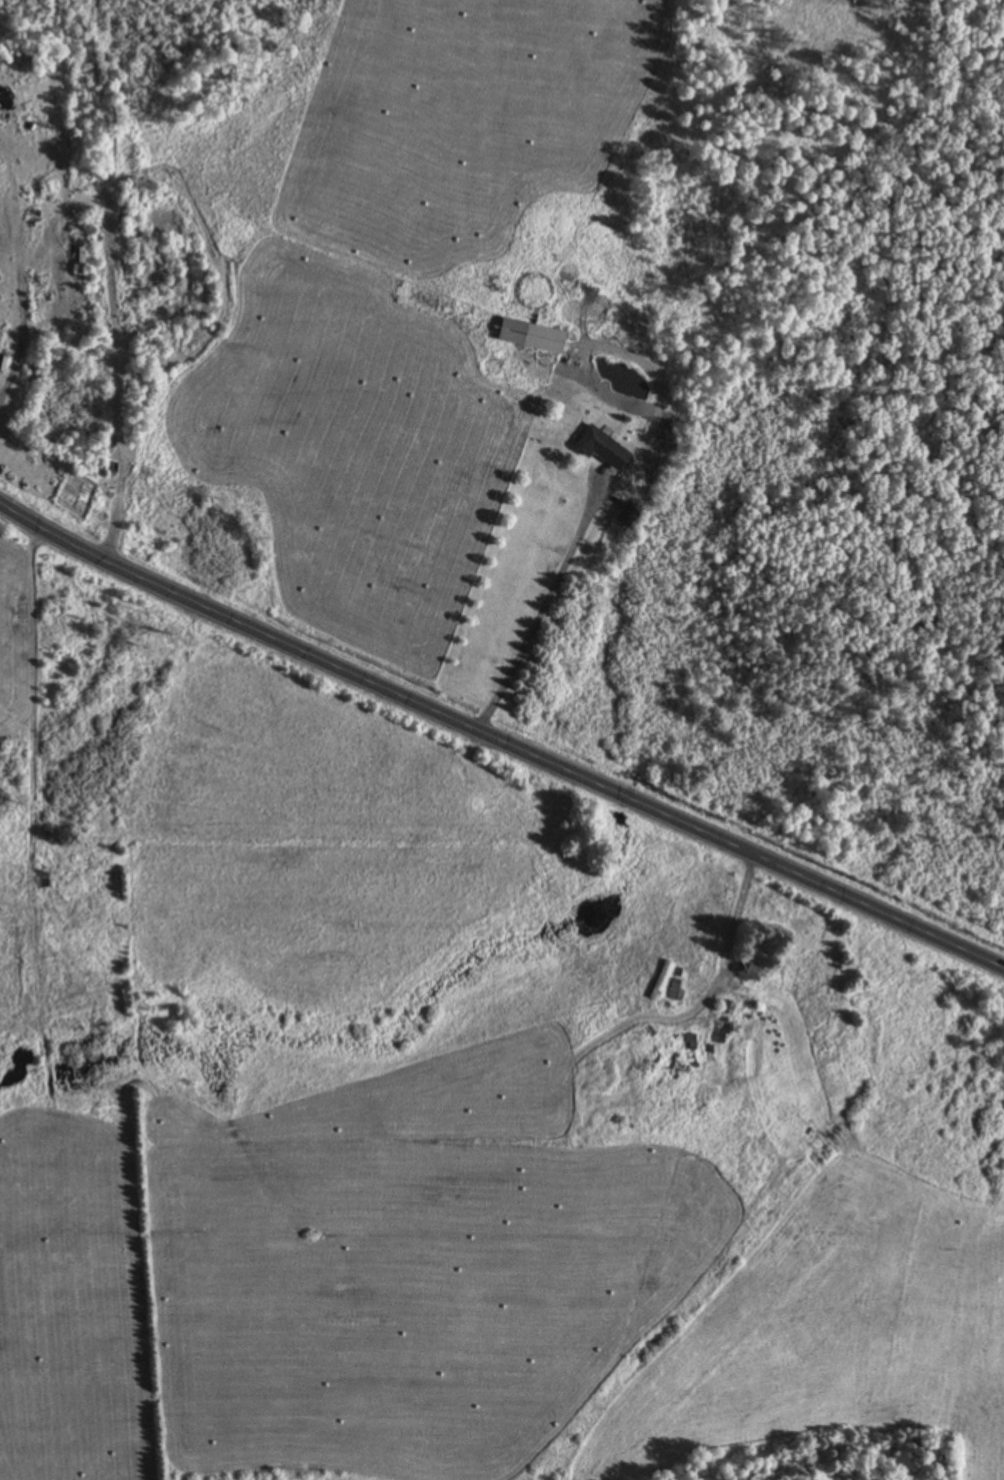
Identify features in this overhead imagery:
building: (80, 263)
road: (111, 283)
building: (531, 336)
building: (600, 449)
road: (498, 739)
building: (44, 879)
building: (749, 973)
building: (661, 981)
building: (675, 993)
building: (720, 1031)

